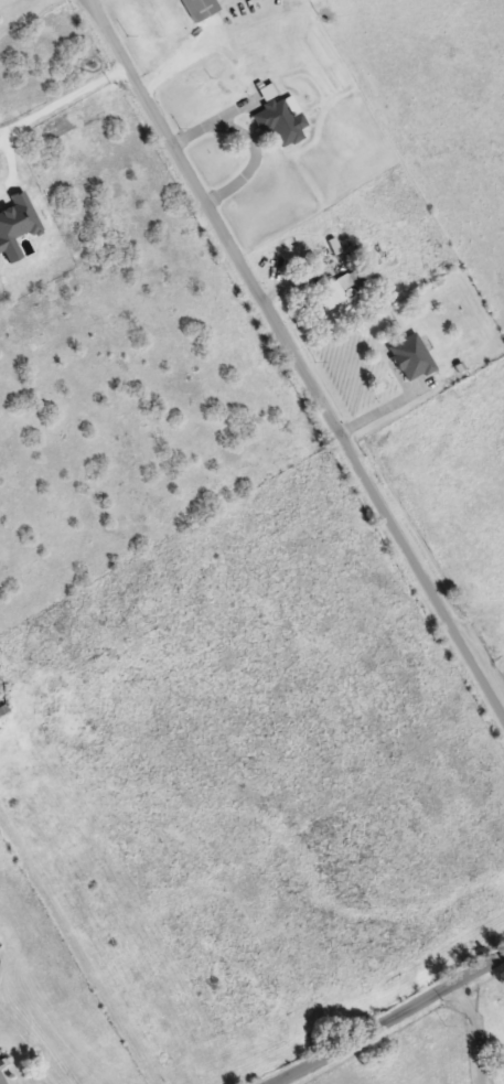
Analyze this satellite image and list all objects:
building: (200, 8)
building: (280, 120)
building: (337, 289)
road: (296, 356)
building: (411, 356)
road: (390, 1018)
building: (2, 1077)

